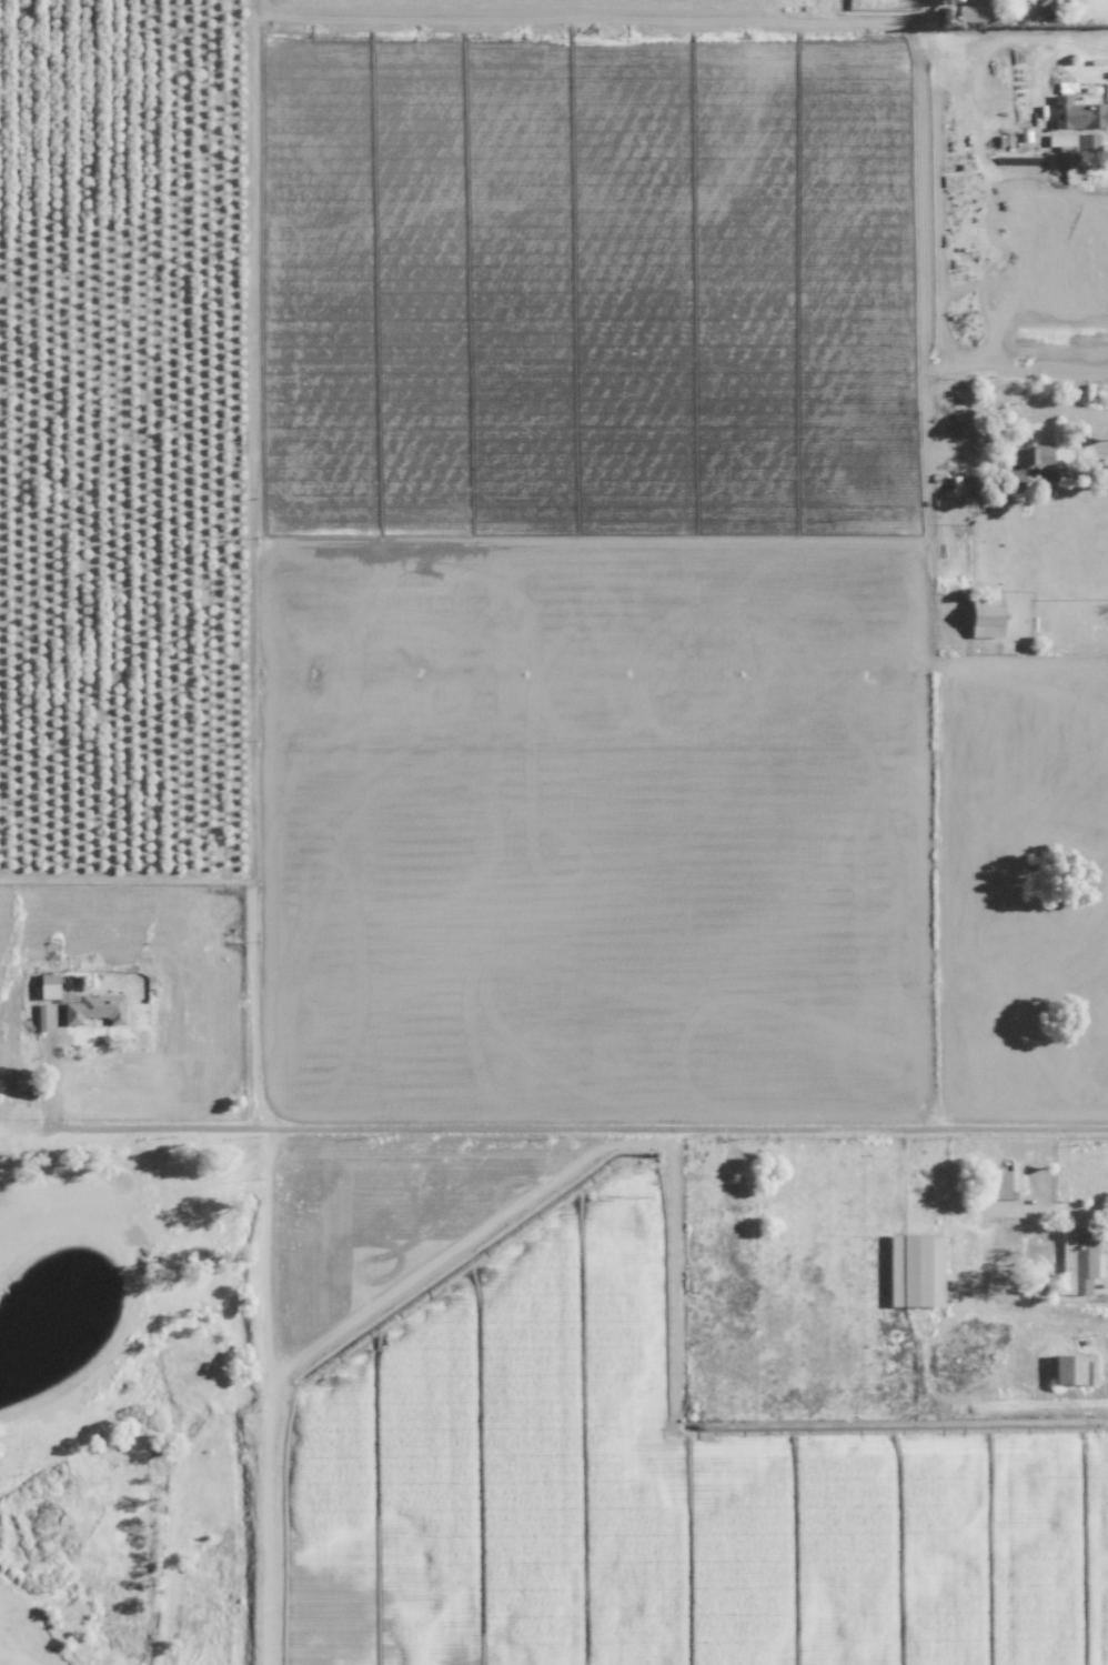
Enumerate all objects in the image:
building: (1050, 1)
road: (993, 48)
building: (1078, 112)
building: (1059, 139)
building: (1086, 141)
building: (1027, 454)
road: (1077, 468)
building: (47, 985)
building: (93, 1009)
road: (554, 1124)
building: (1005, 1183)
building: (1077, 1258)
building: (914, 1271)

